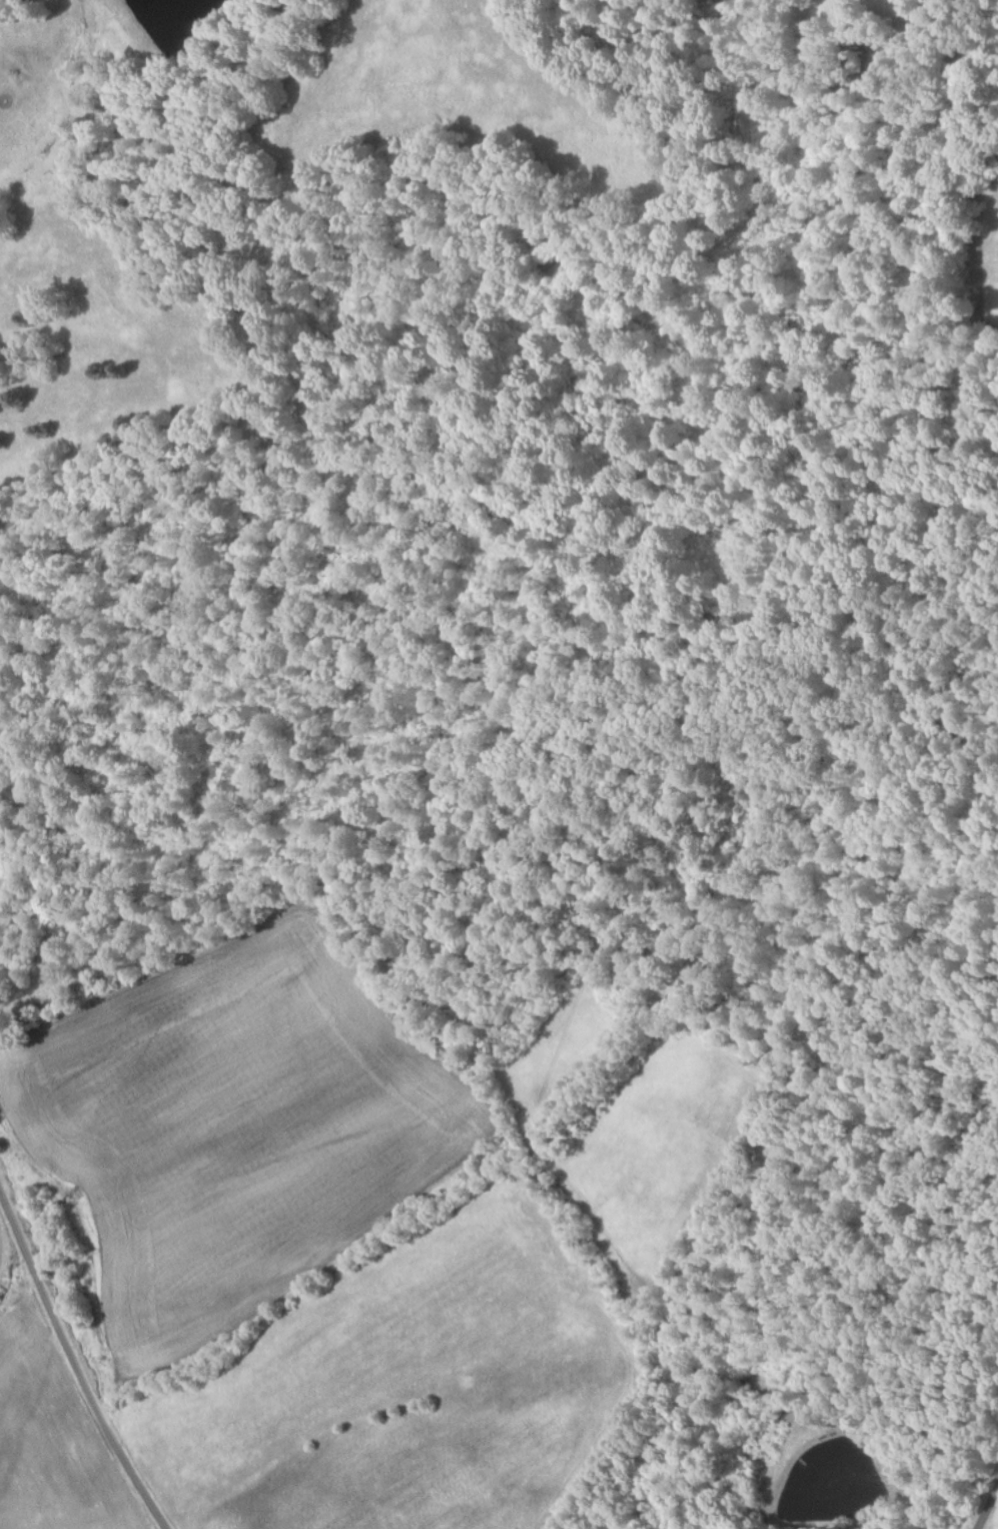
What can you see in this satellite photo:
road: (74, 1362)
road: (988, 1509)

